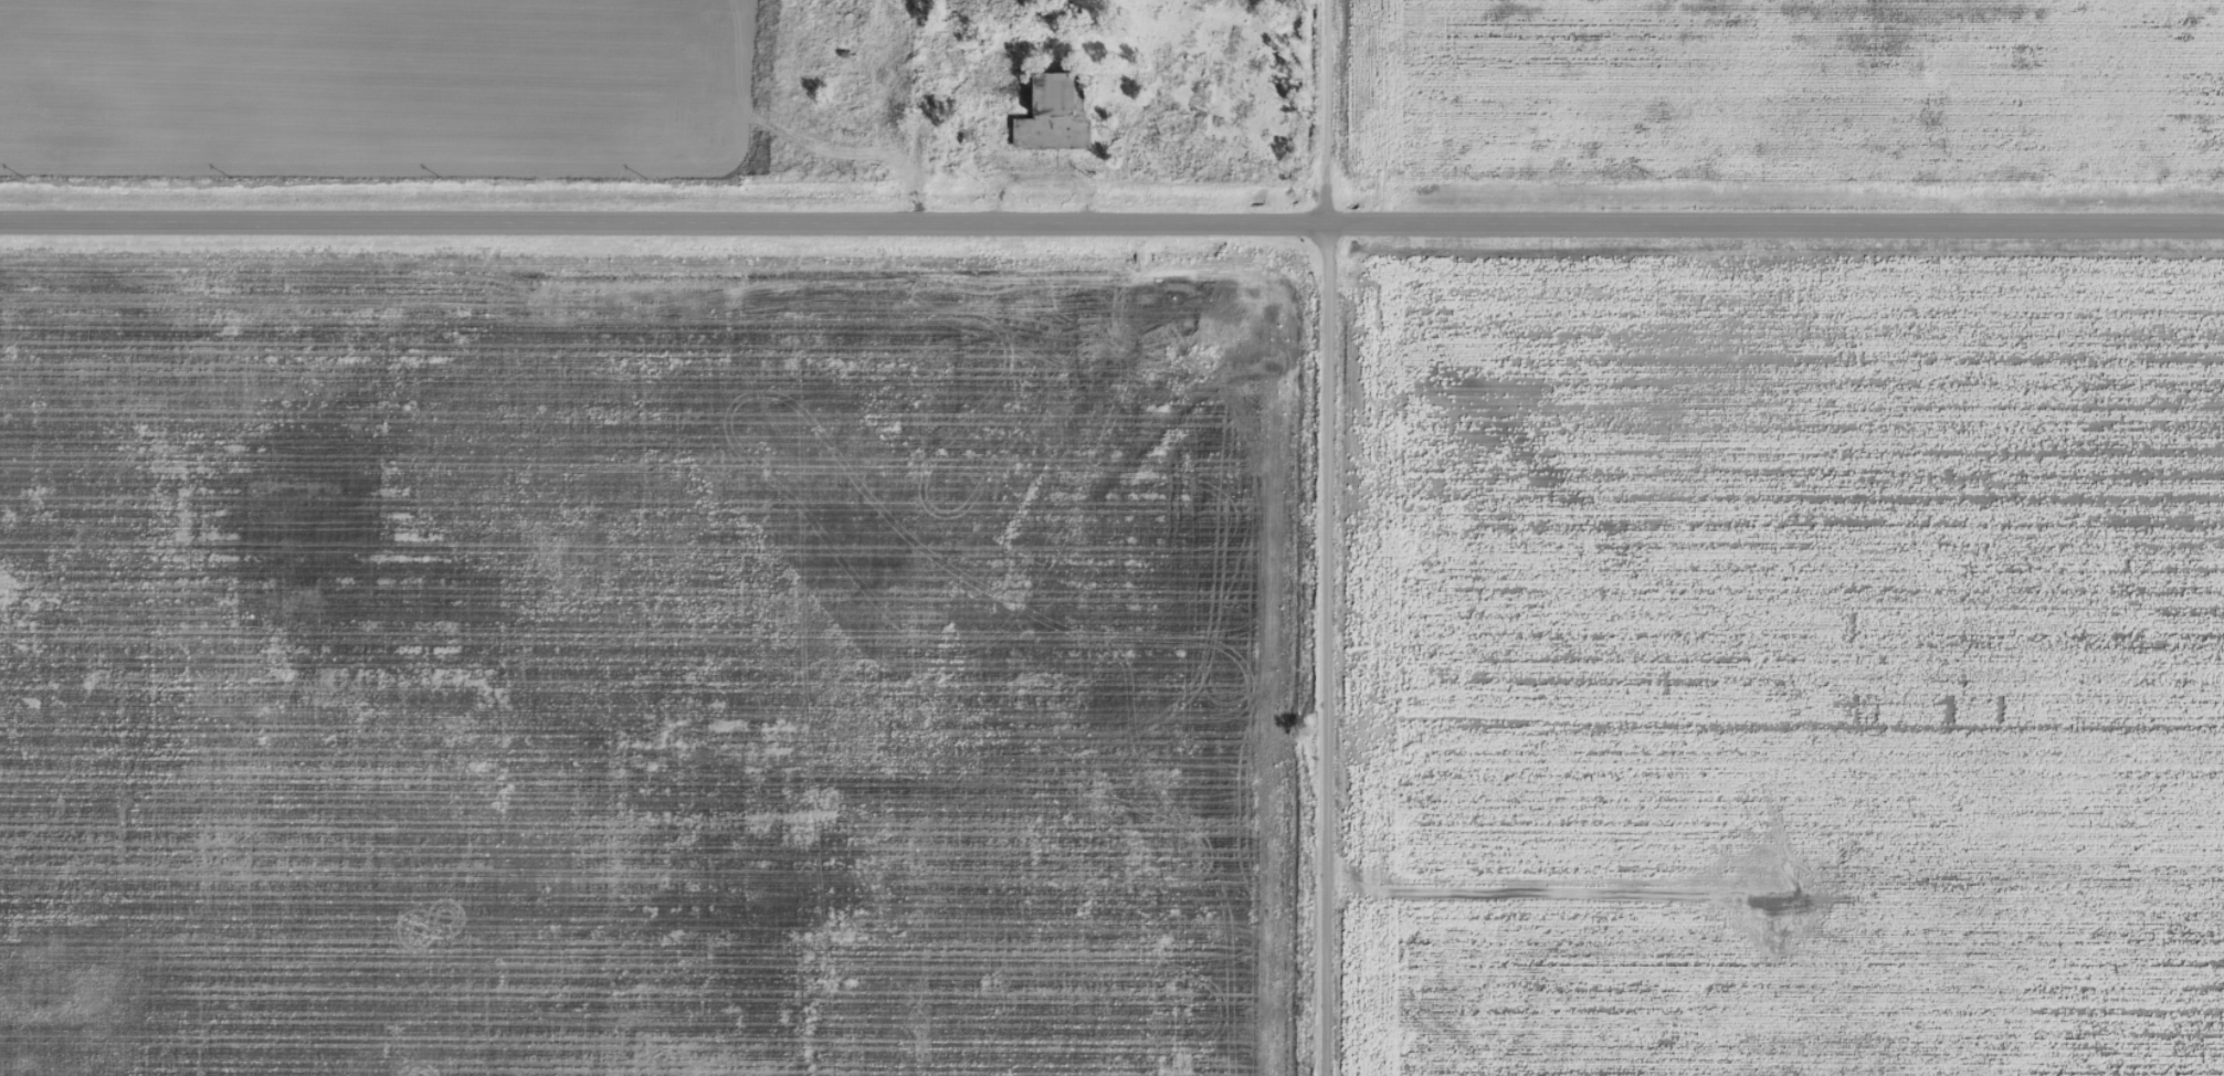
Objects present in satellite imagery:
building: (855, 94)
building: (1053, 95)
road: (663, 228)
road: (1775, 229)
road: (1326, 537)

